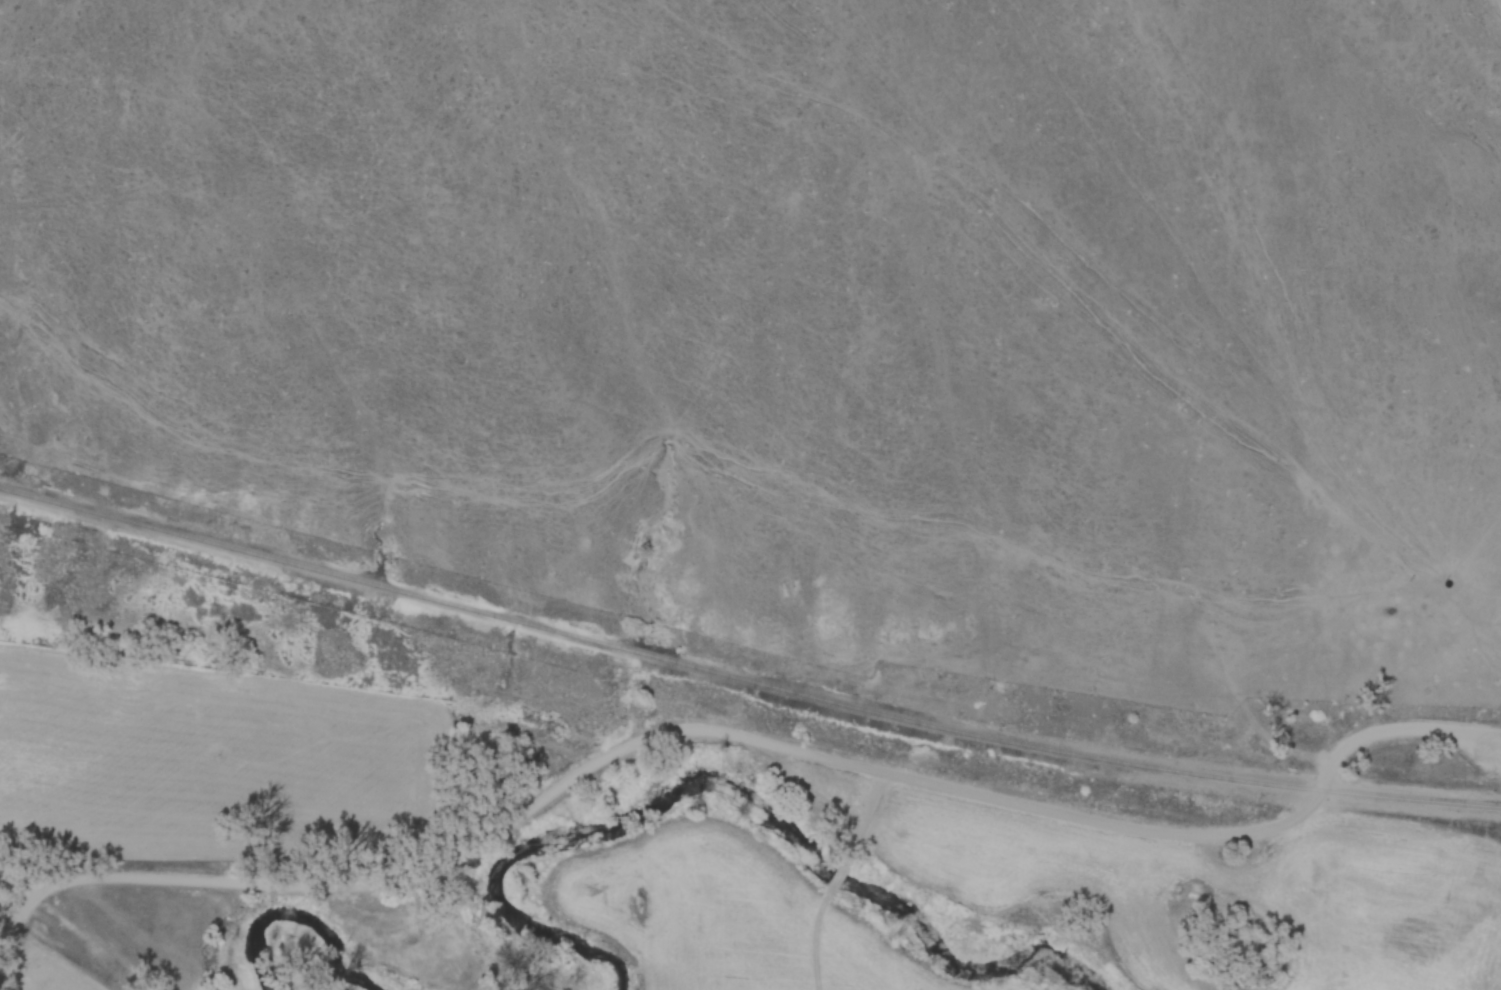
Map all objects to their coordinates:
railway: (744, 678)
road: (726, 733)
road: (15, 880)
crop: (57, 973)
crop: (315, 988)

